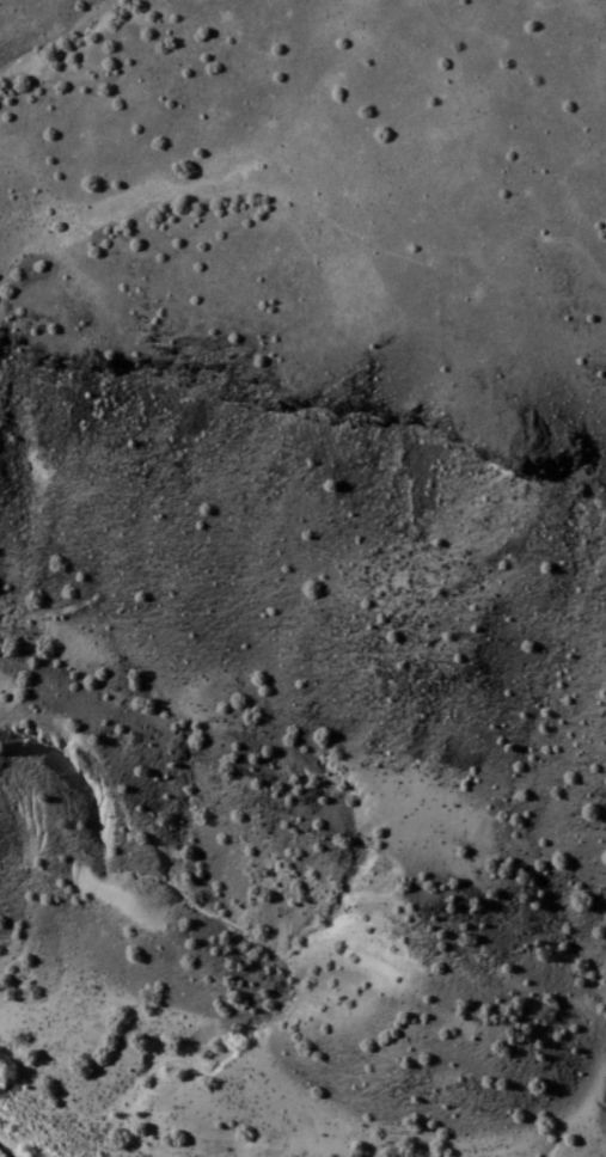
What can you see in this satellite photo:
river: (13, 1149)

